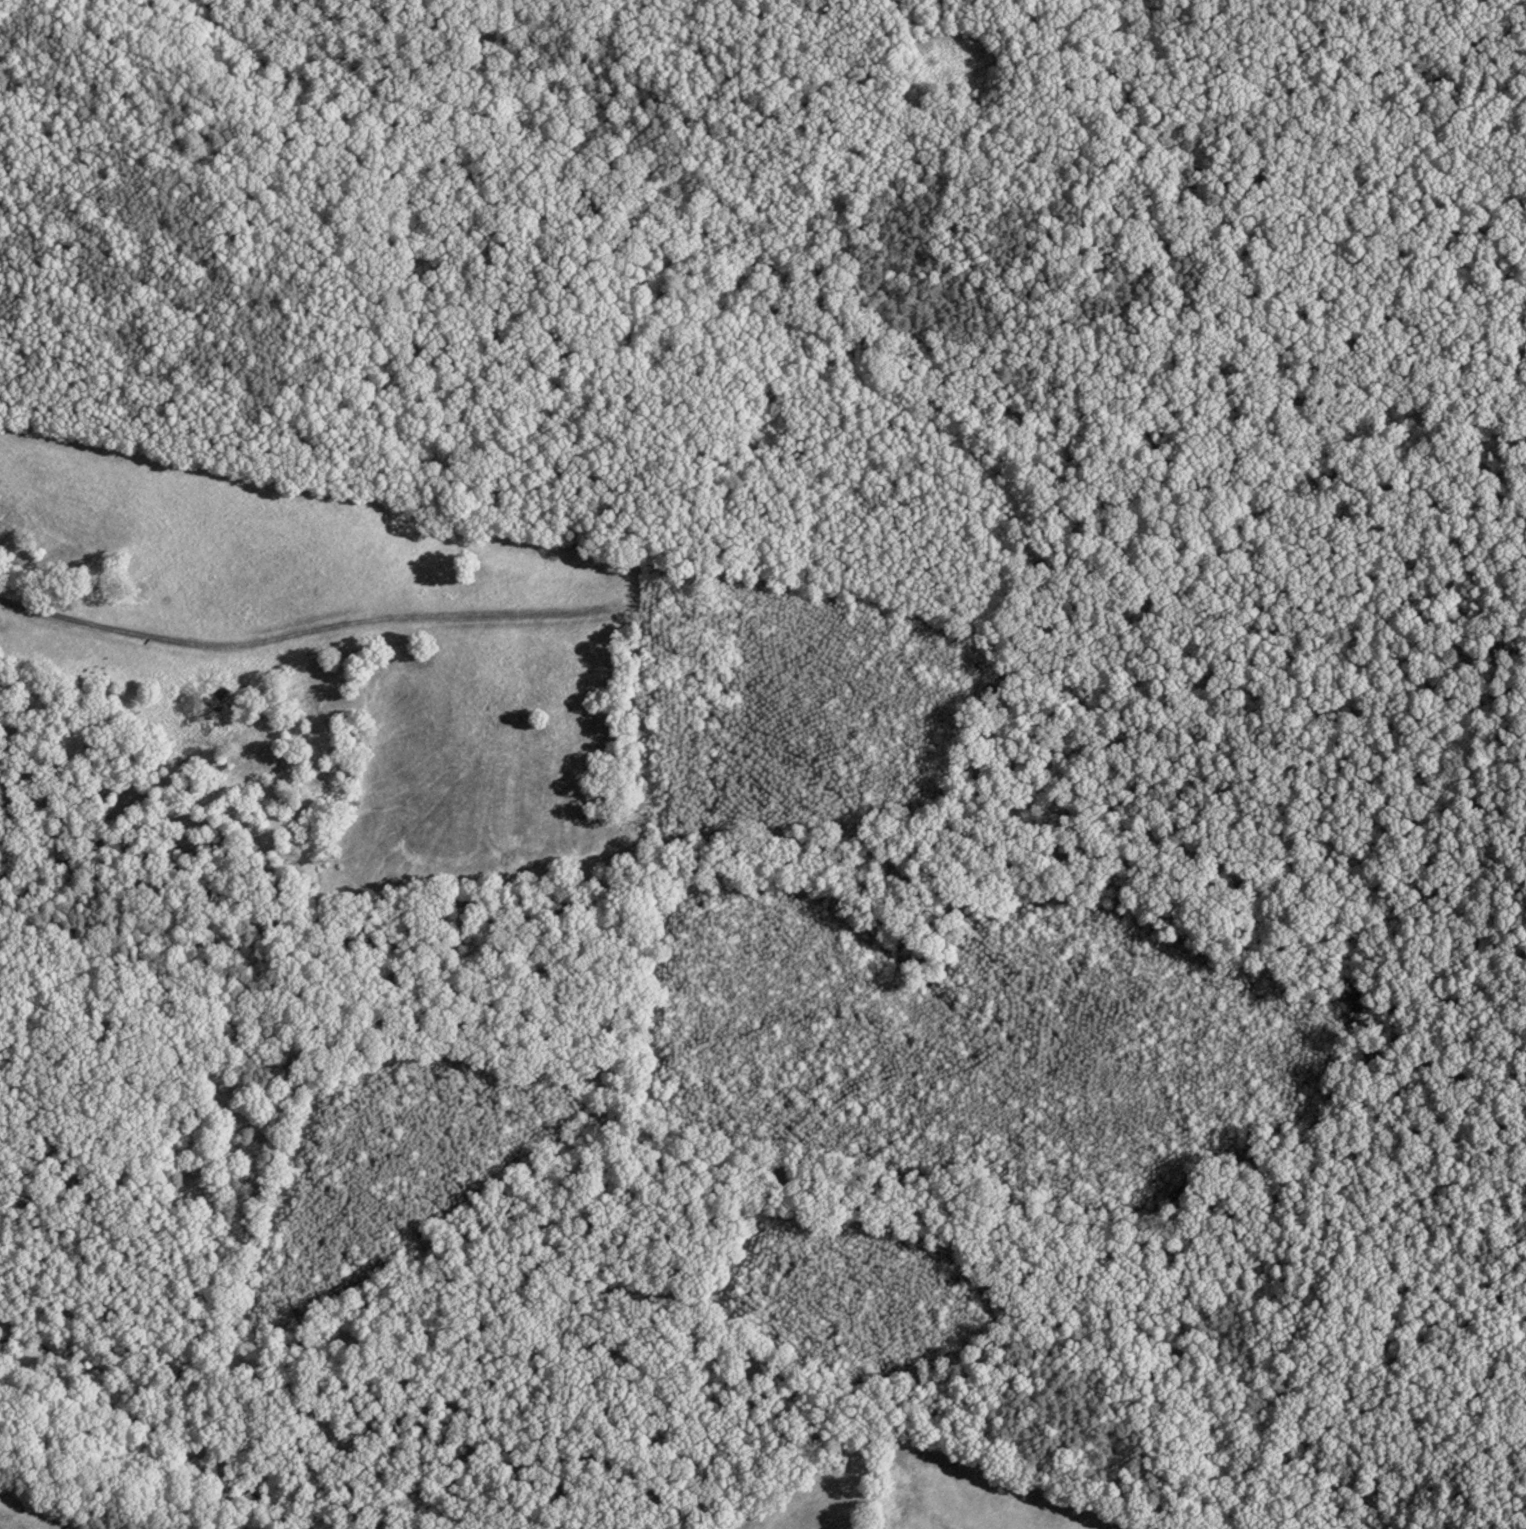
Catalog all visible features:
building: (1142, 1528)

